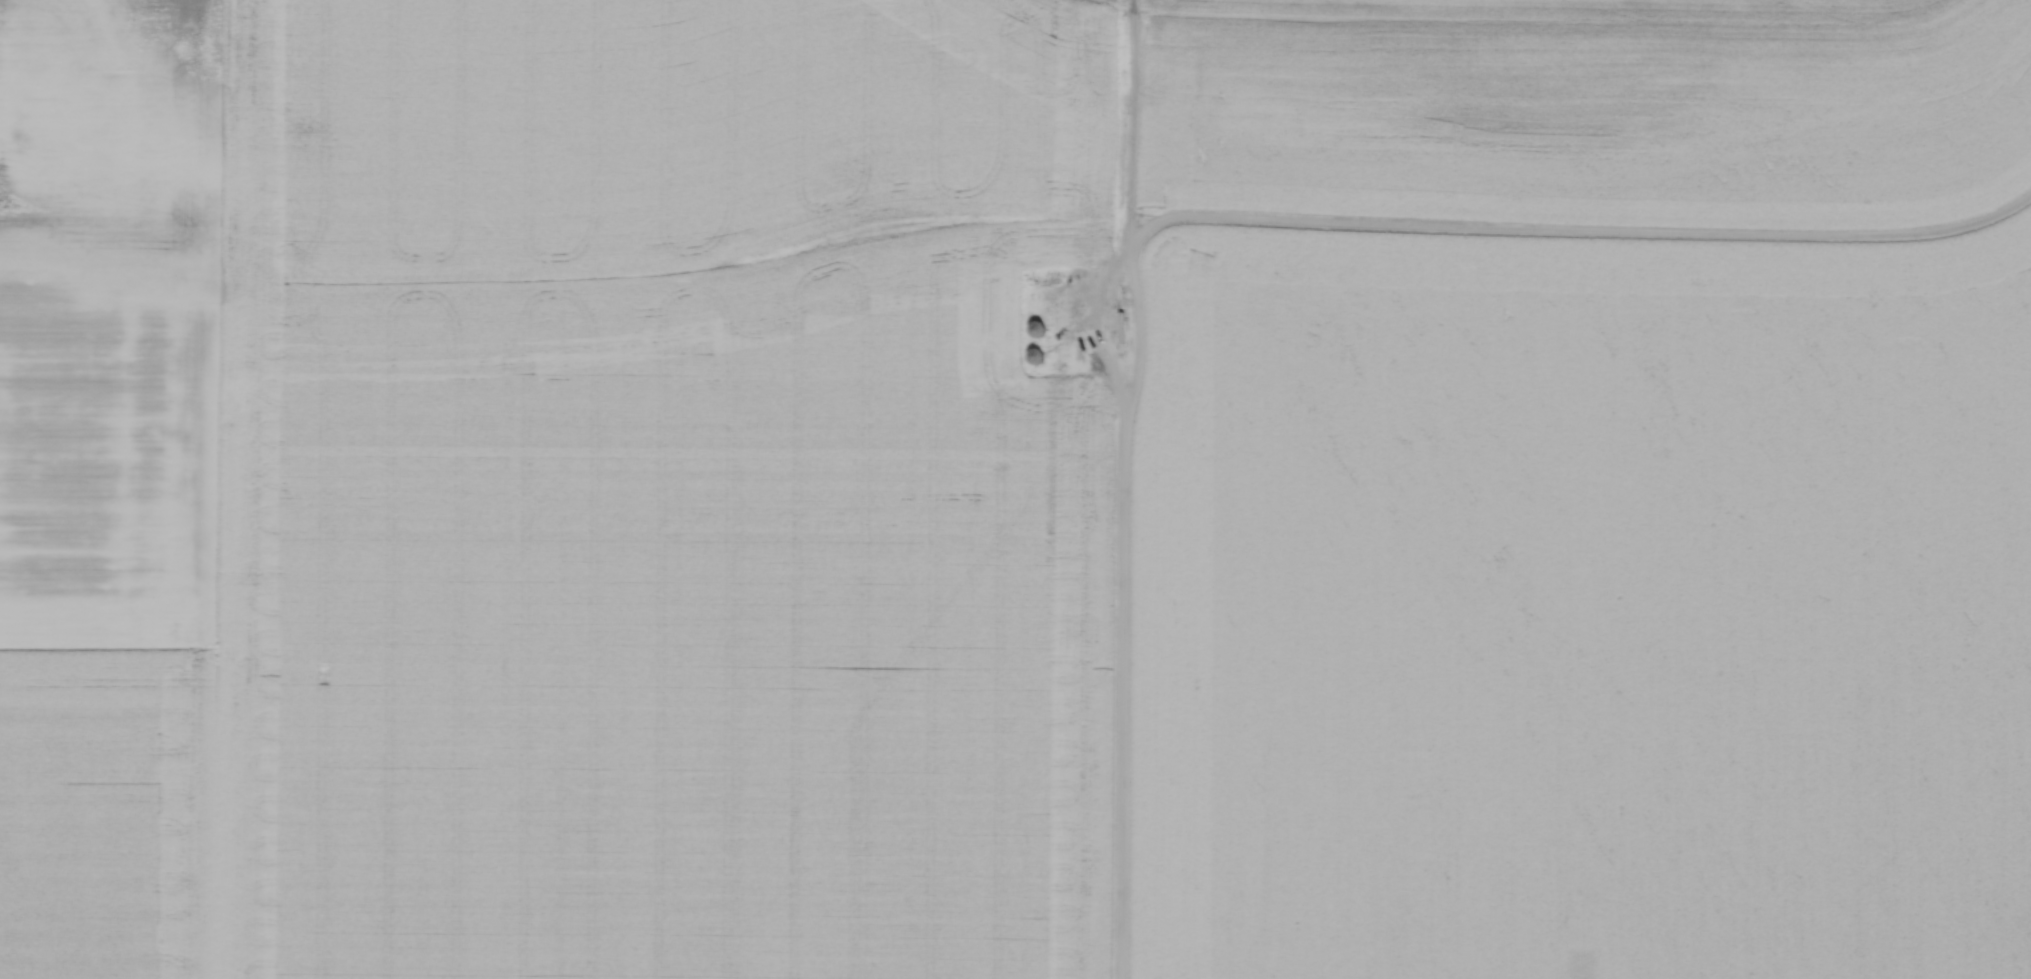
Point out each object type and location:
road: (1217, 225)
building: (1036, 329)
building: (1033, 357)

